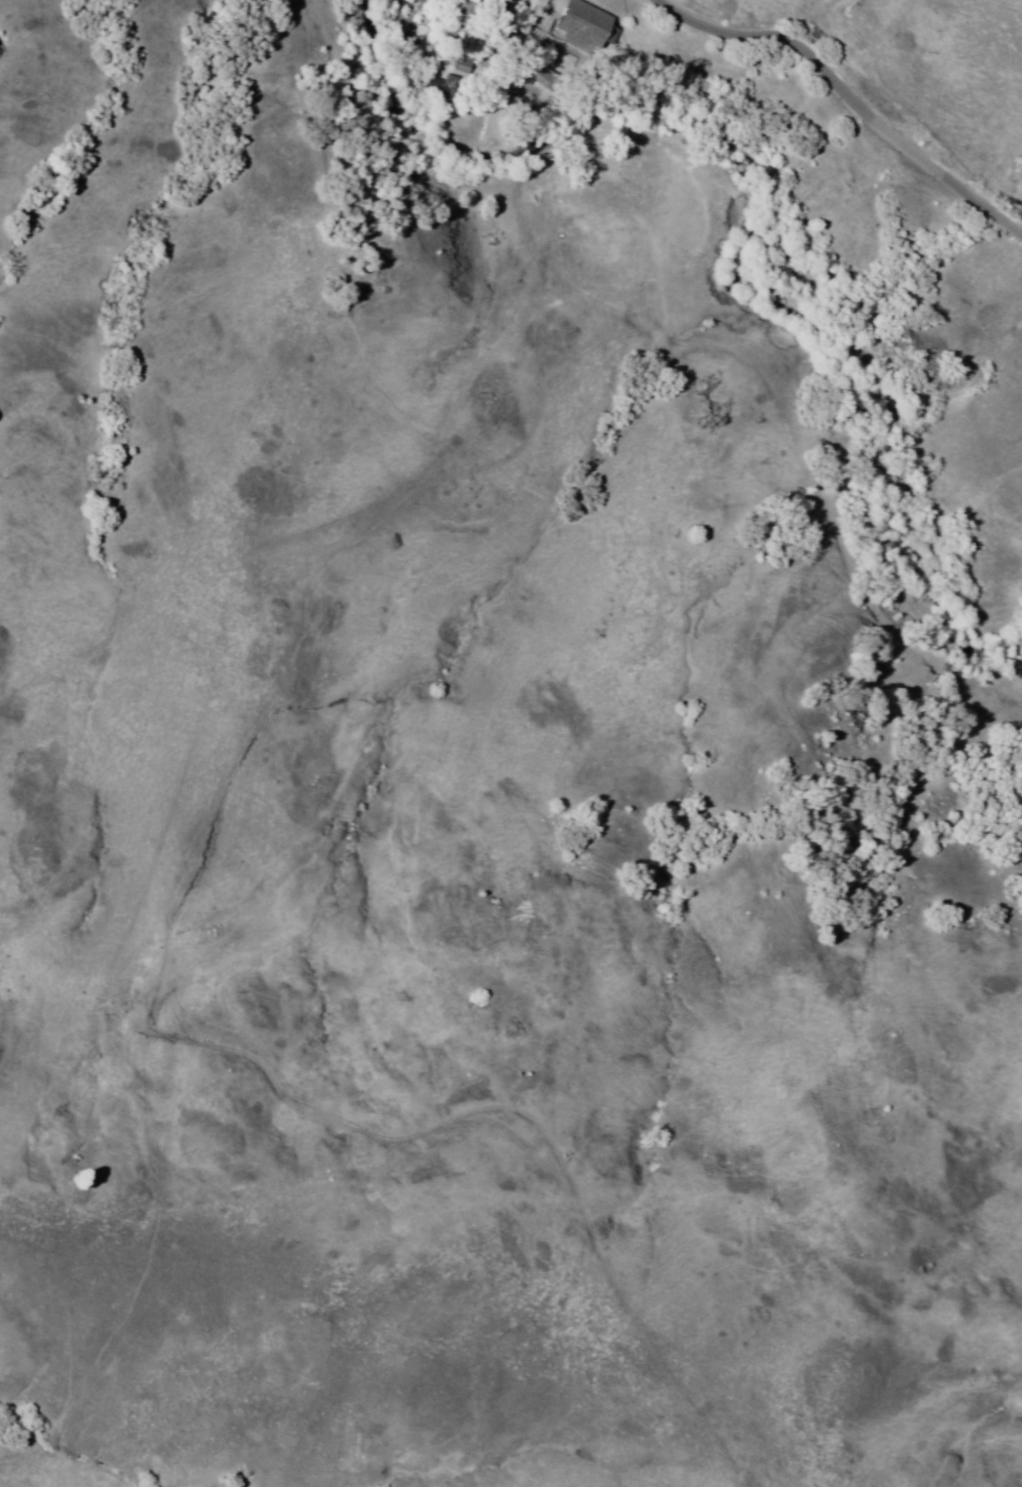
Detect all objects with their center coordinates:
building: (470, 14)
building: (588, 27)
building: (466, 60)
building: (538, 64)
building: (445, 88)
road: (846, 97)

